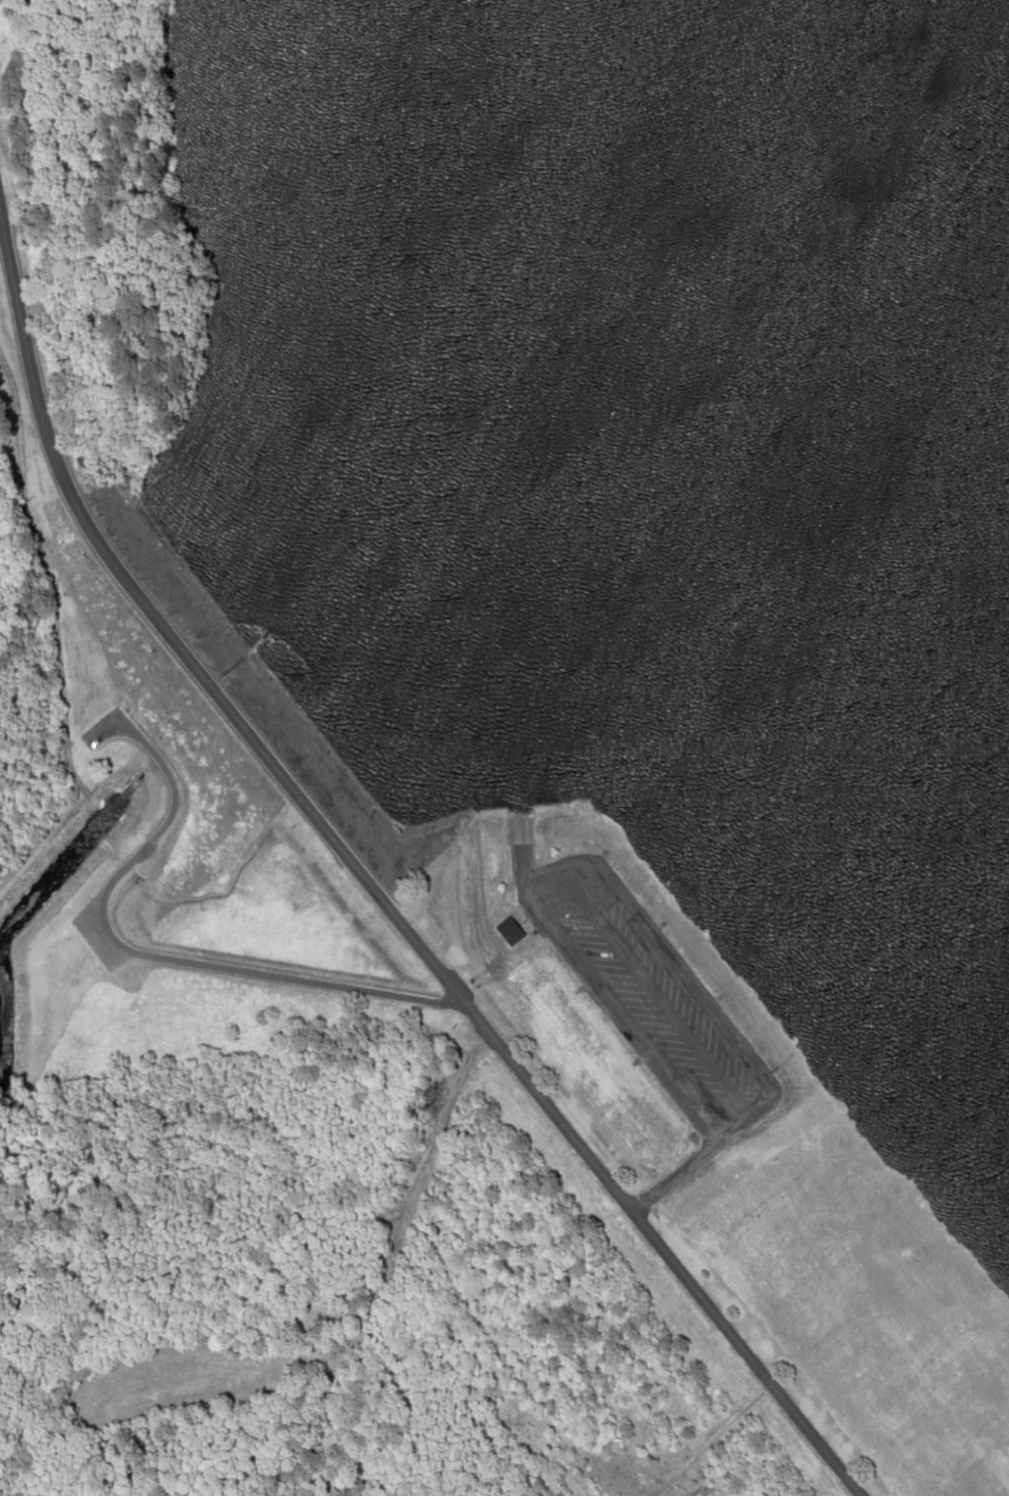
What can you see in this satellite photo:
river: (621, 609)
road: (372, 890)
building: (509, 930)

